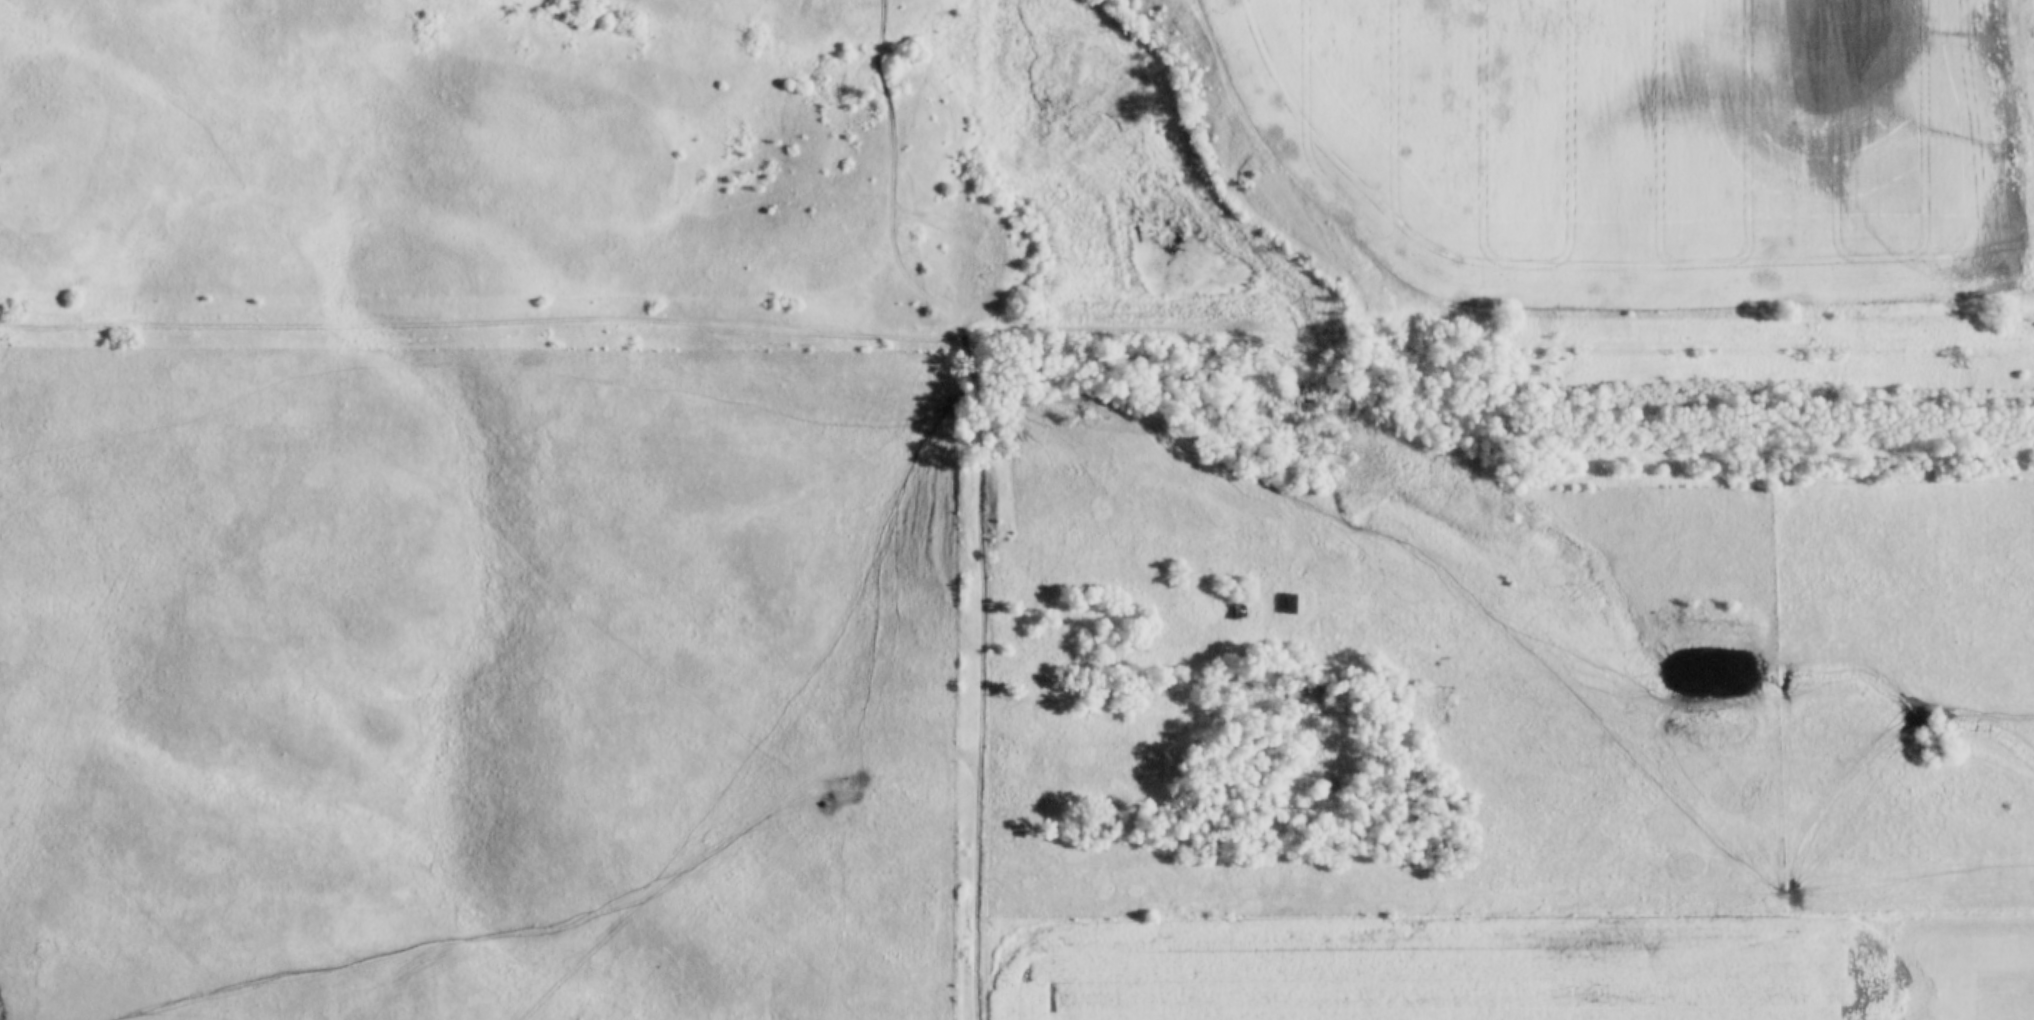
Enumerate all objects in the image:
road: (484, 338)
building: (1290, 605)
road: (979, 679)

